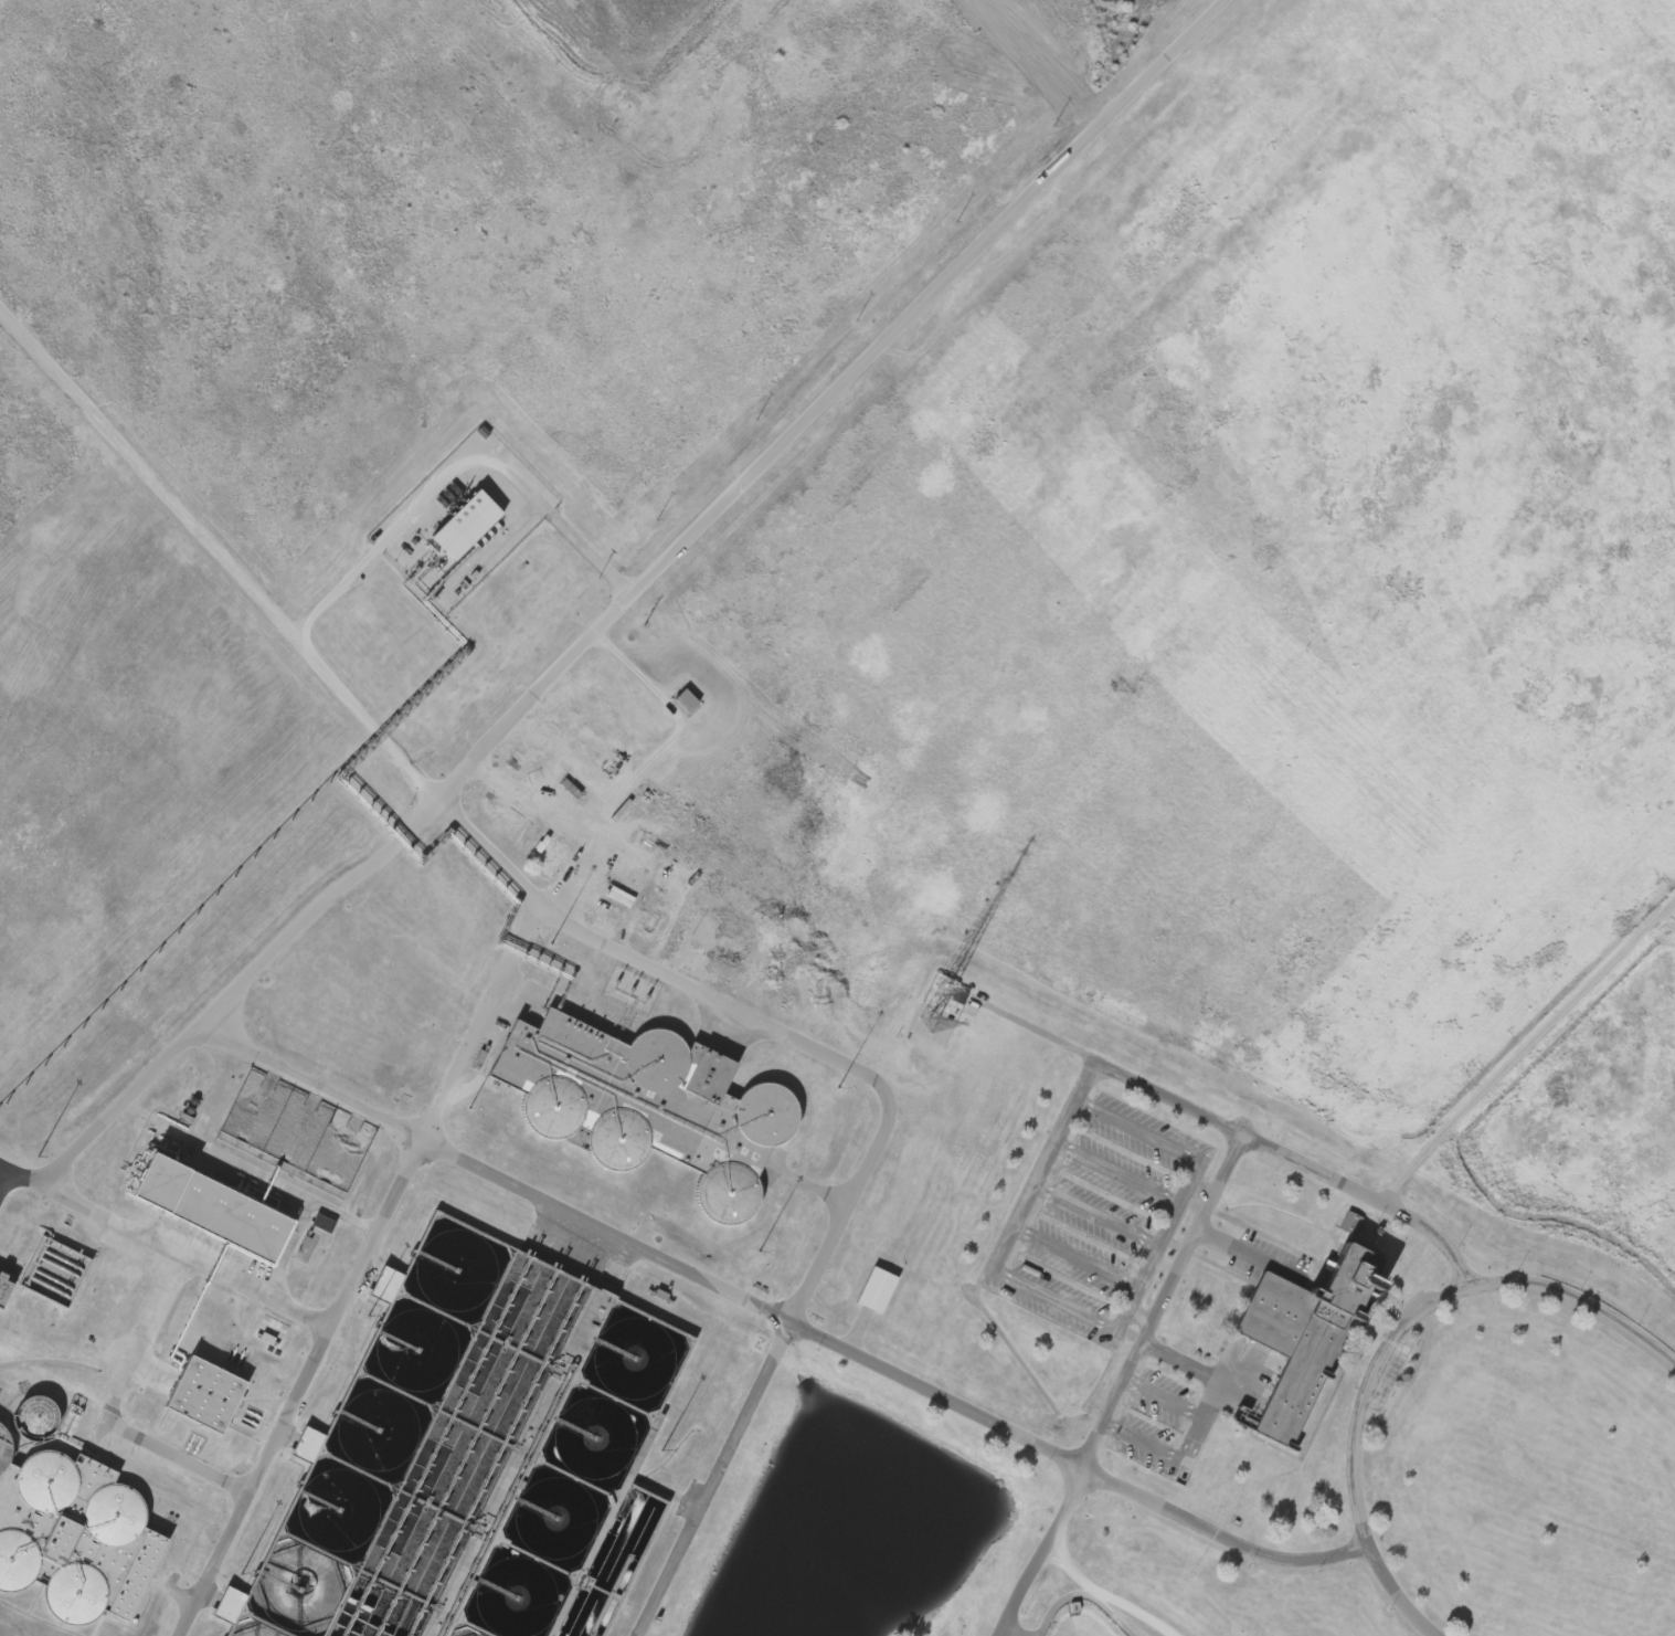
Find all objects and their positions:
building: (453, 525)
road: (611, 569)
wastewater plant: (837, 817)
road: (602, 838)
building: (540, 861)
road: (580, 878)
road: (320, 899)
building: (945, 996)
road: (478, 1023)
road: (1038, 1031)
building: (640, 1106)
road: (879, 1123)
road: (3, 1174)
road: (1030, 1192)
building: (221, 1208)
building: (310, 1223)
building: (1336, 1223)
road: (174, 1256)
building: (57, 1273)
road: (1169, 1283)
building: (373, 1285)
building: (7, 1290)
building: (873, 1290)
road: (777, 1316)
building: (1303, 1334)
road: (141, 1340)
road: (1391, 1340)
road: (298, 1387)
building: (213, 1396)
building: (41, 1418)
building: (72, 1421)
building: (295, 1445)
road: (179, 1459)
building: (474, 1459)
building: (76, 1535)
road: (1040, 1551)
road: (1080, 1593)
building: (216, 1605)

